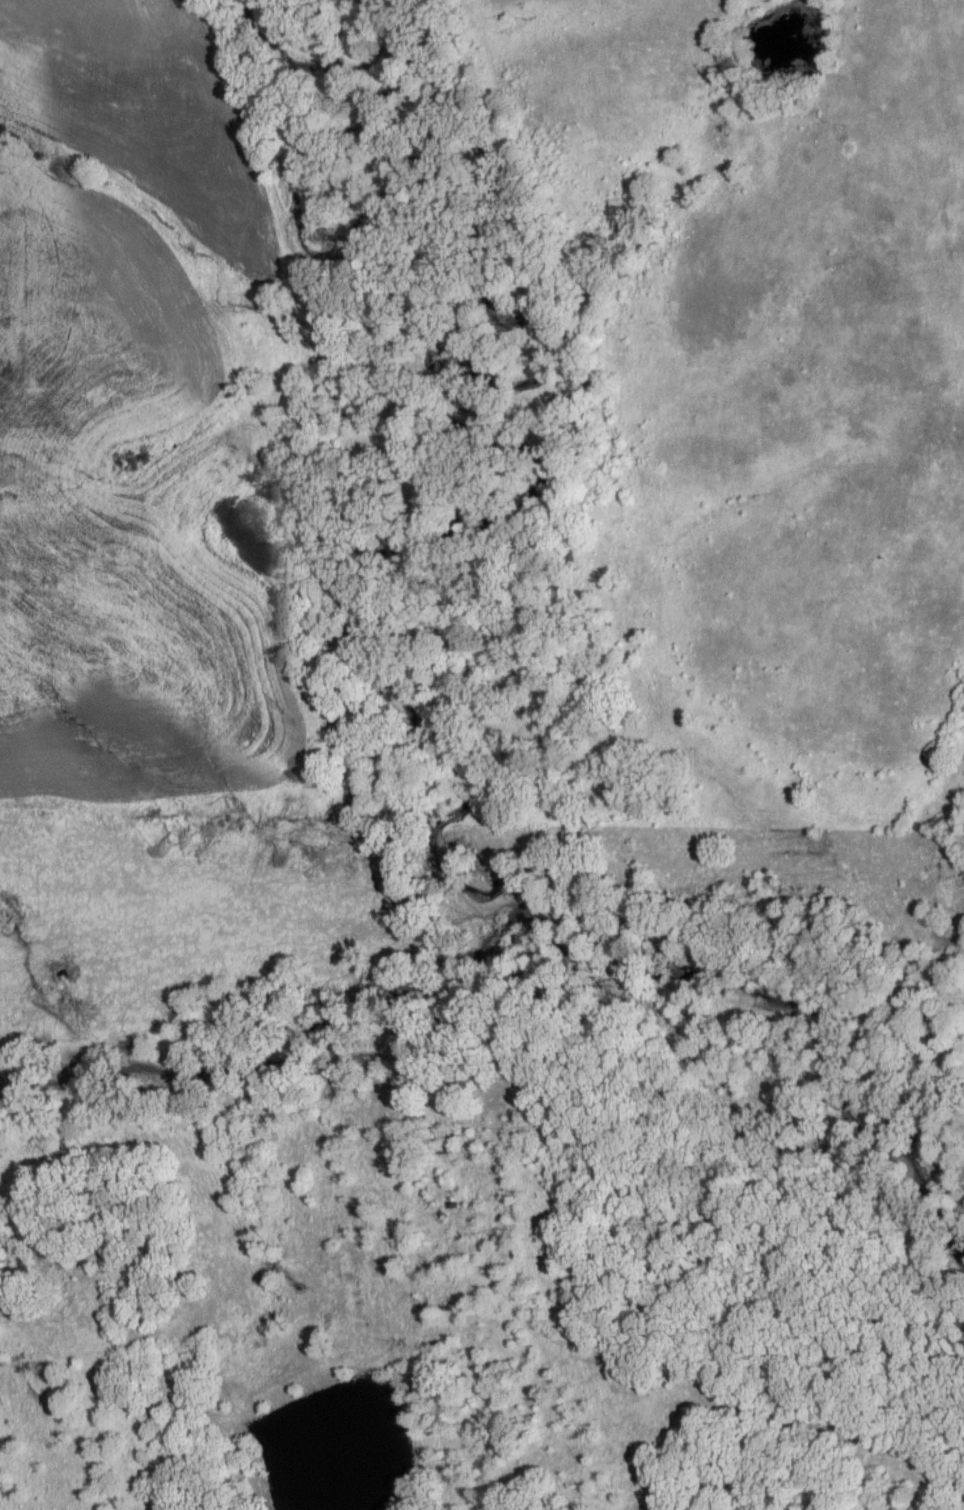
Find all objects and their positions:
road: (92, 1400)

